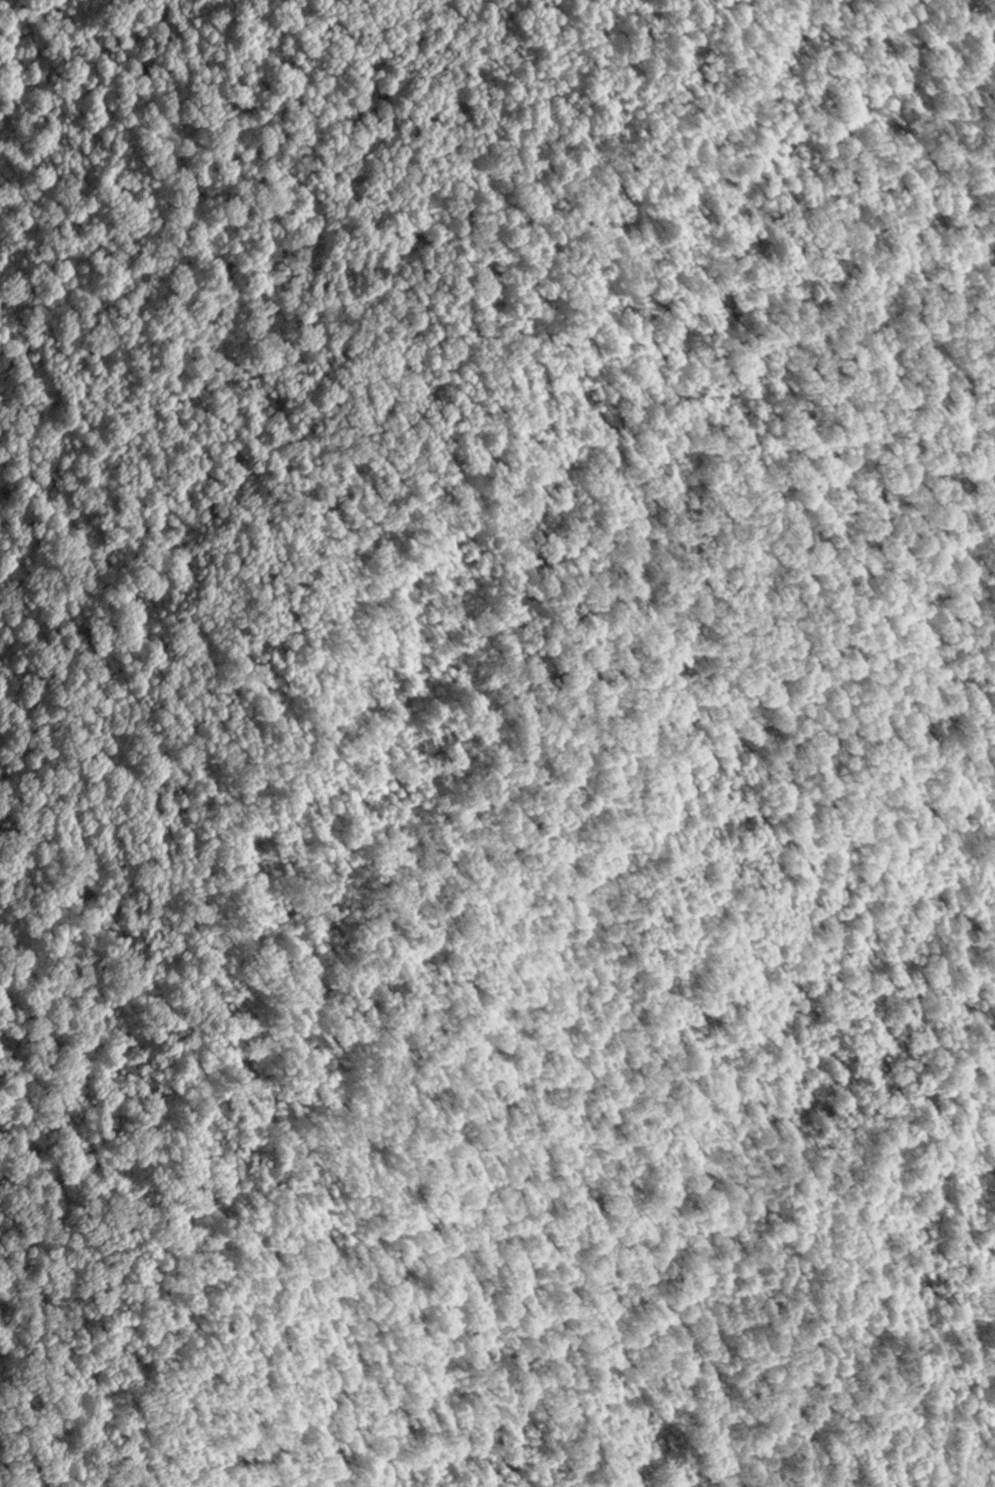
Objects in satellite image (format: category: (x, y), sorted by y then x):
road: (443, 766)

